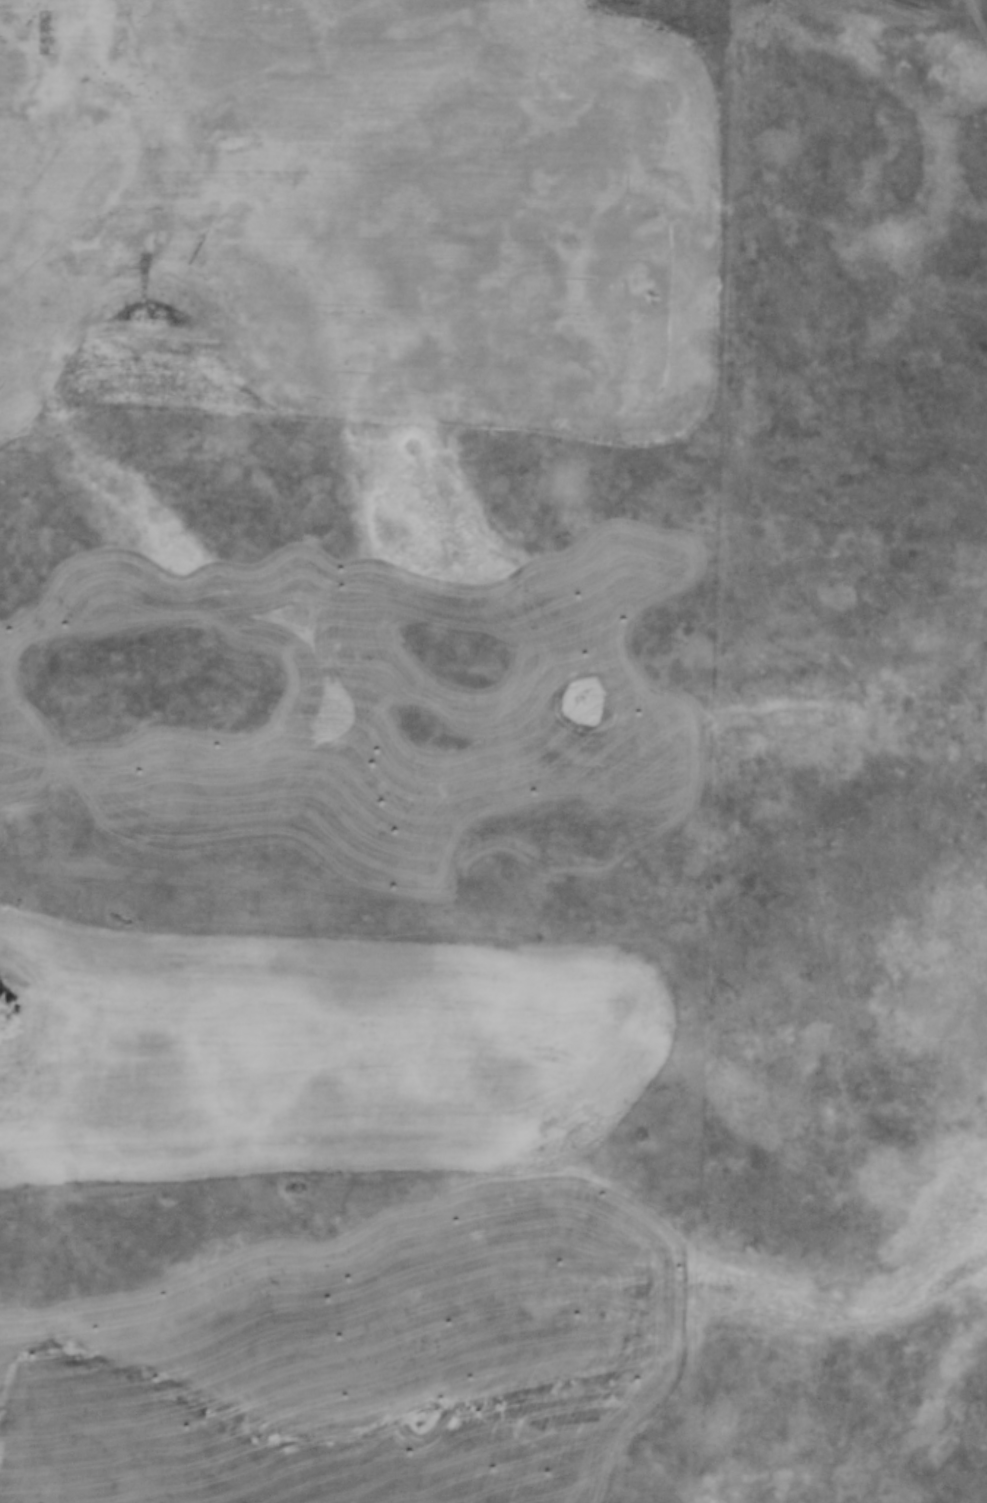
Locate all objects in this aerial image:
road: (979, 15)

